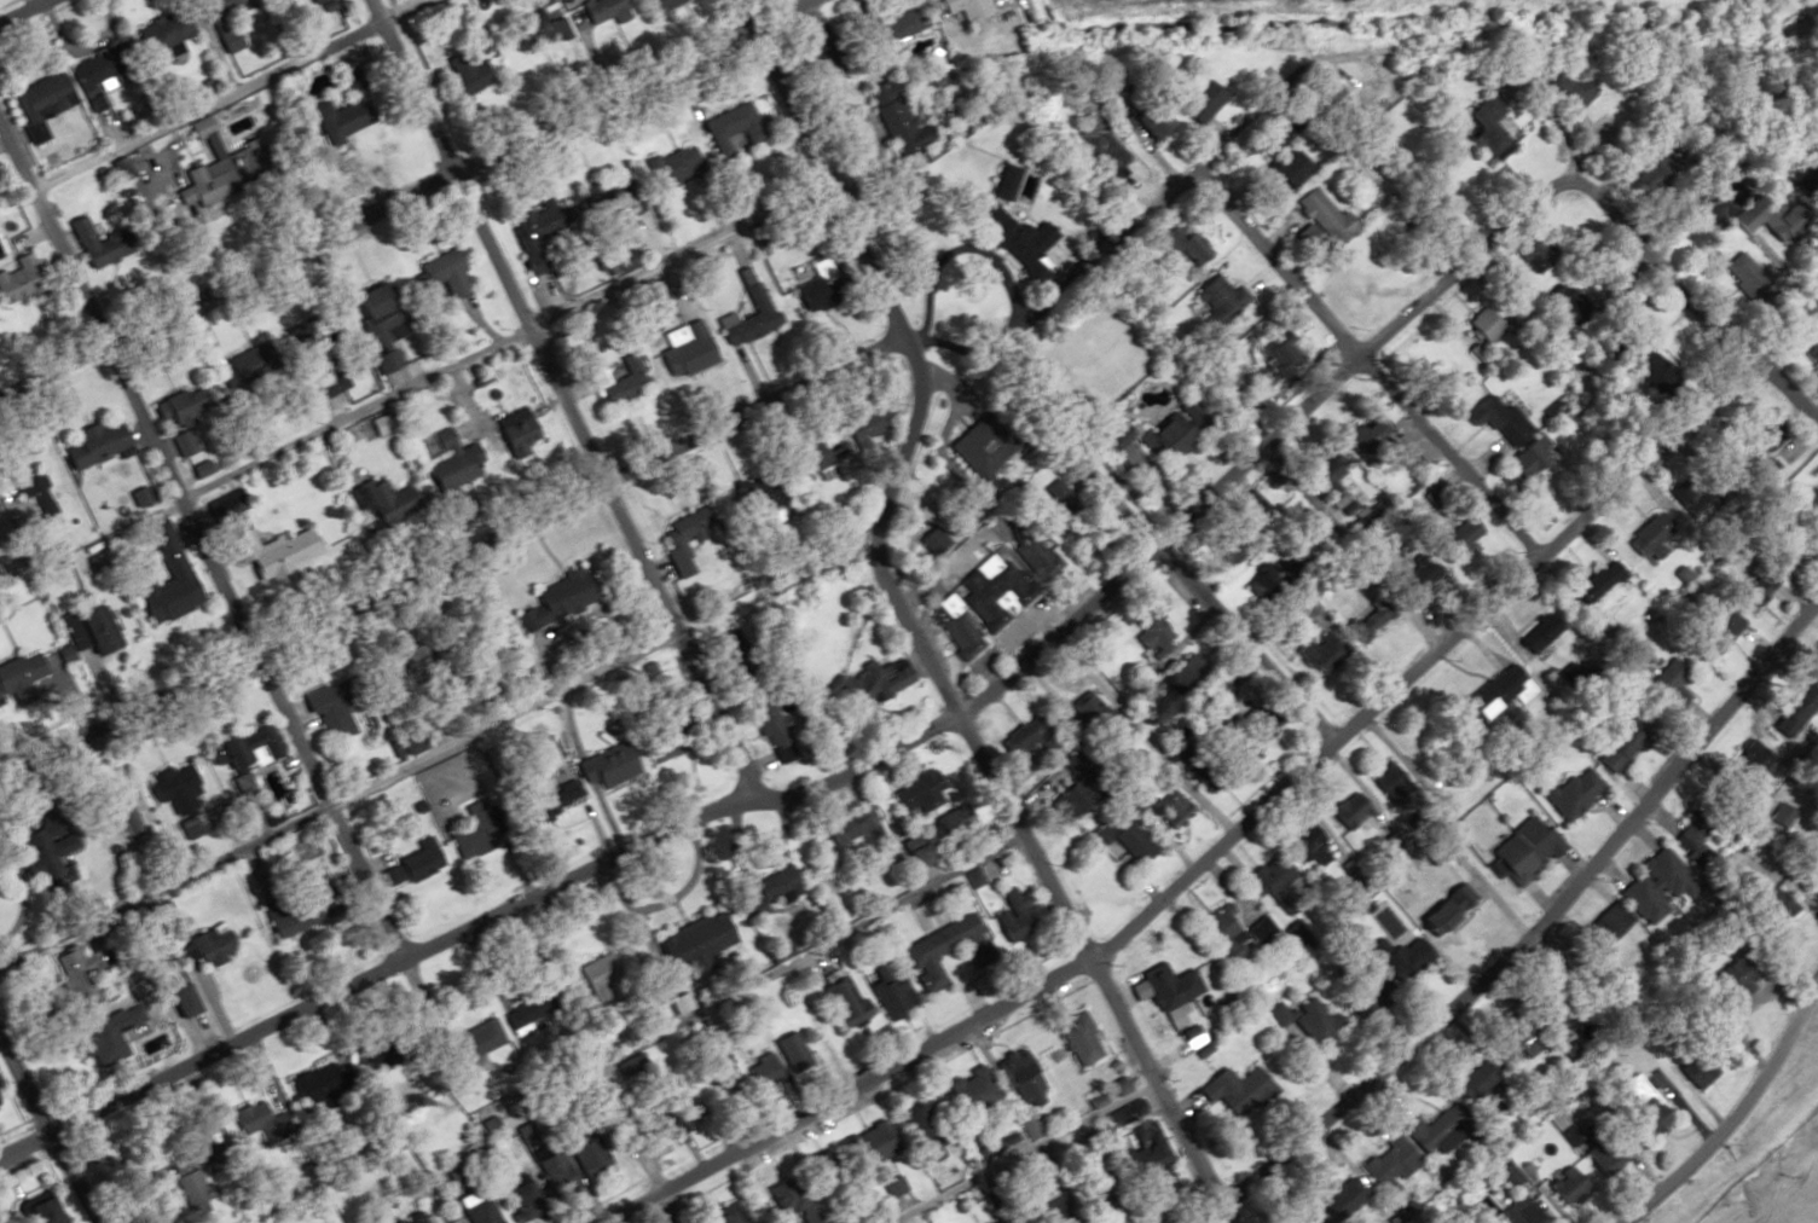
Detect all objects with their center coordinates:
building: (307, 0)
building: (660, 4)
building: (951, 4)
road: (19, 8)
building: (600, 10)
building: (210, 27)
building: (891, 28)
building: (158, 31)
building: (532, 31)
building: (88, 70)
building: (461, 73)
building: (1557, 89)
building: (1327, 92)
road: (222, 94)
building: (1195, 98)
building: (1372, 98)
building: (36, 102)
building: (891, 116)
building: (1137, 120)
building: (726, 122)
building: (198, 128)
building: (1467, 129)
building: (1266, 138)
building: (1095, 144)
building: (1285, 167)
building: (668, 168)
building: (202, 174)
road: (1160, 190)
road: (404, 192)
building: (619, 197)
building: (1318, 215)
building: (1785, 224)
building: (992, 225)
building: (80, 239)
building: (1177, 242)
building: (533, 244)
building: (1527, 255)
building: (441, 273)
building: (16, 290)
building: (811, 290)
building: (653, 294)
building: (370, 298)
building: (1216, 300)
building: (1561, 300)
building: (745, 318)
building: (1477, 326)
road: (1718, 332)
road: (499, 342)
building: (687, 347)
building: (1268, 354)
building: (1814, 357)
road: (1355, 361)
building: (615, 382)
building: (1227, 383)
building: (325, 386)
road: (557, 398)
building: (1493, 418)
building: (174, 423)
building: (515, 431)
building: (1163, 437)
building: (91, 445)
building: (810, 458)
building: (1524, 459)
building: (1313, 477)
building: (135, 497)
building: (1702, 497)
road: (1194, 498)
building: (1059, 499)
building: (1811, 503)
building: (1458, 534)
building: (1650, 539)
building: (673, 545)
road: (192, 546)
road: (448, 549)
building: (162, 550)
building: (277, 553)
building: (1030, 555)
building: (1785, 556)
building: (56, 575)
building: (1596, 584)
building: (989, 592)
building: (1752, 593)
road: (1195, 604)
building: (1362, 621)
road: (902, 626)
building: (89, 631)
building: (1719, 631)
building: (1536, 633)
building: (954, 636)
building: (1315, 653)
building: (18, 674)
building: (873, 680)
building: (1671, 684)
building: (1495, 695)
building: (1794, 708)
building: (325, 713)
building: (766, 724)
building: (1627, 738)
building: (664, 744)
building: (243, 748)
building: (1237, 752)
building: (1744, 765)
building: (606, 770)
building: (1205, 779)
building: (1384, 779)
building: (170, 790)
building: (1573, 792)
building: (917, 793)
building: (550, 799)
road: (340, 801)
building: (1064, 801)
road: (1249, 810)
building: (1347, 810)
building: (121, 818)
building: (852, 823)
building: (471, 834)
building: (41, 836)
building: (1698, 836)
building: (1127, 840)
building: (1302, 846)
building: (1525, 848)
building: (915, 854)
building: (1810, 857)
building: (417, 860)
building: (1266, 879)
building: (1654, 886)
building: (765, 892)
building: (1446, 909)
building: (1767, 909)
building: (1008, 917)
road: (1516, 926)
building: (1604, 927)
building: (1233, 933)
building: (695, 943)
building: (204, 946)
building: (937, 950)
road: (372, 972)
building: (1363, 975)
building: (1730, 975)
building: (1166, 986)
road: (729, 992)
building: (170, 993)
building: (887, 996)
road: (1816, 997)
building: (839, 1001)
building: (526, 1015)
building: (1307, 1020)
building: (105, 1034)
building: (1191, 1036)
building: (1073, 1039)
building: (471, 1041)
building: (1515, 1042)
building: (1700, 1063)
building: (1481, 1074)
building: (1017, 1078)
building: (312, 1083)
building: (968, 1090)
building: (1238, 1090)
building: (1640, 1106)
building: (670, 1113)
building: (249, 1118)
road: (1735, 1118)
building: (917, 1123)
building: (1431, 1131)
road: (46, 1135)
building: (864, 1143)
road: (1014, 1148)
building: (1609, 1150)
building: (580, 1154)
road: (1742, 1157)
building: (1386, 1163)
building: (551, 1173)
building: (1507, 1175)
building: (184, 1178)
building: (1565, 1184)
building: (888, 1186)
building: (519, 1196)
building: (1339, 1200)
building: (1043, 1210)
building: (1519, 1211)
building: (475, 1212)
building: (722, 1215)
building: (1304, 1218)
building: (388, 1221)

